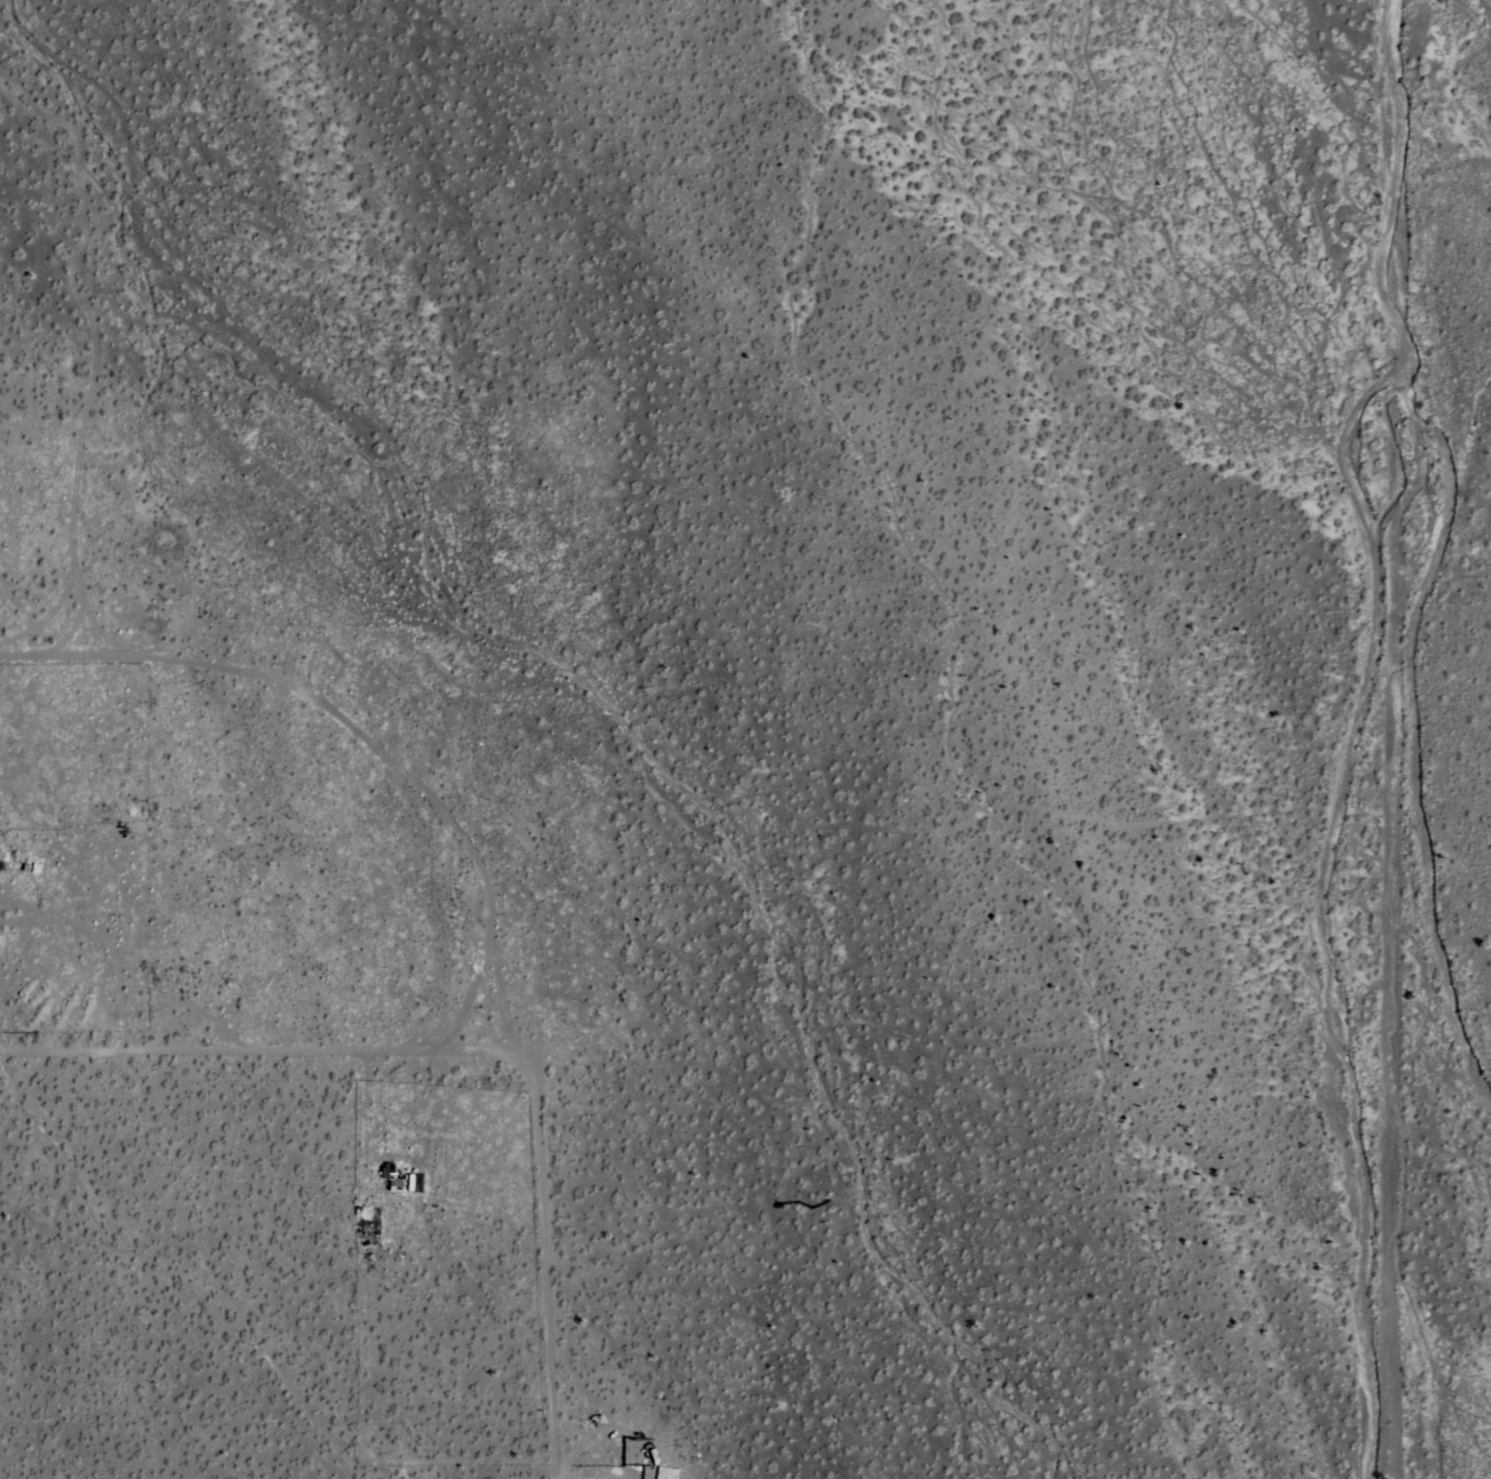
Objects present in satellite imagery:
road: (1418, 739)
road: (98, 942)
road: (477, 1043)

